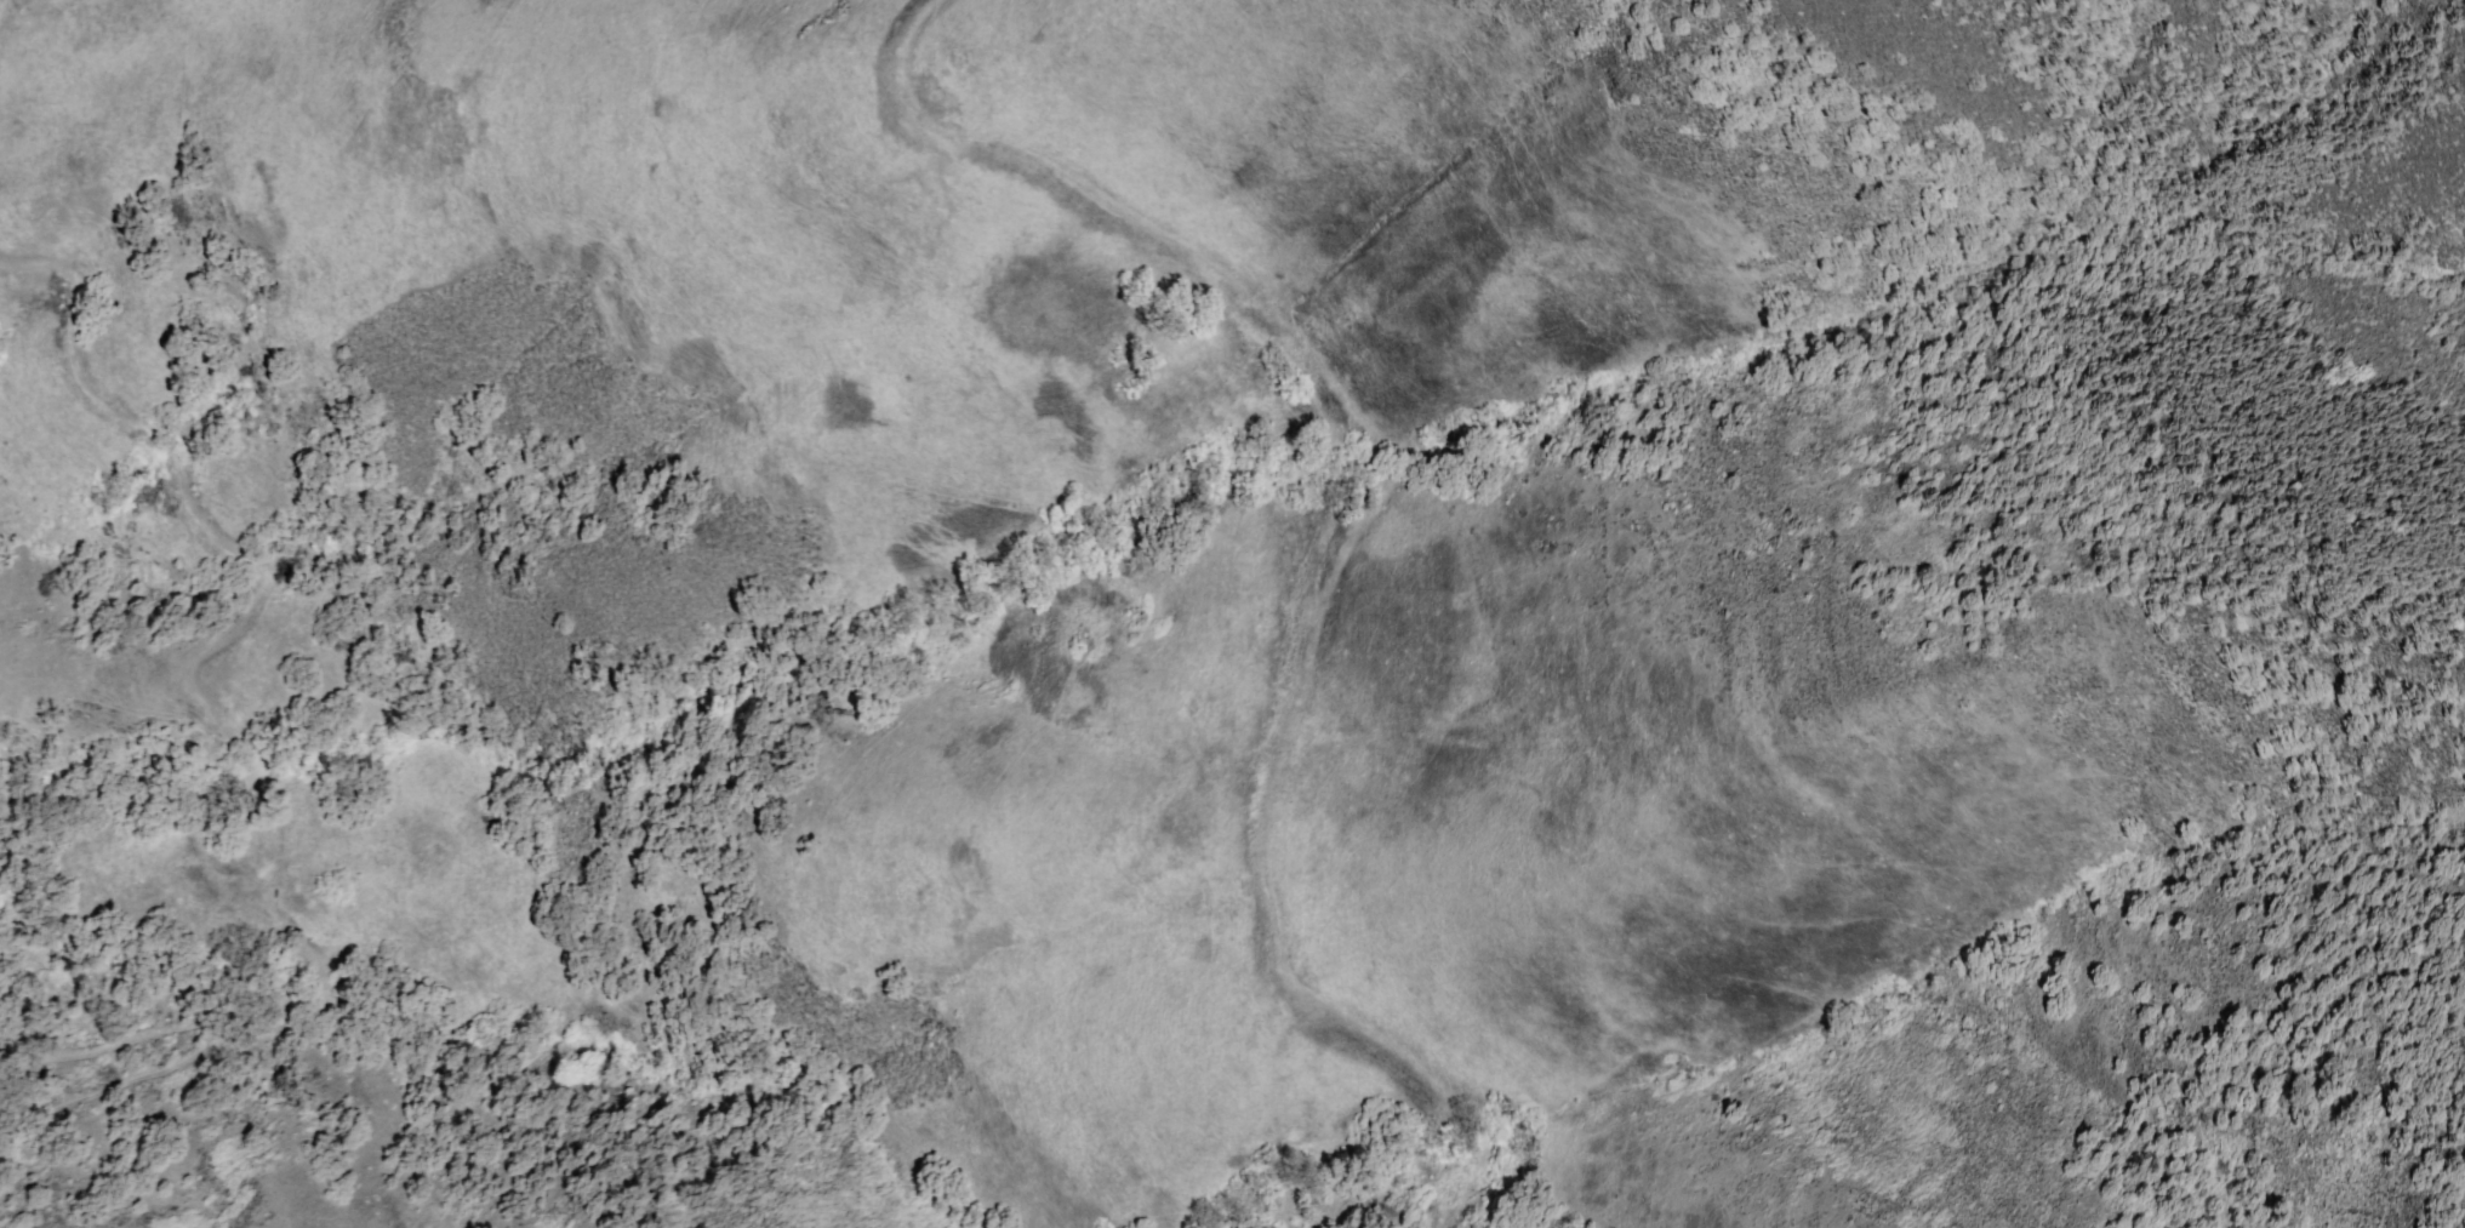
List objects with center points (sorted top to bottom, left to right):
road: (2, 12)
road: (1330, 535)
road: (230, 742)
road: (1445, 1223)

